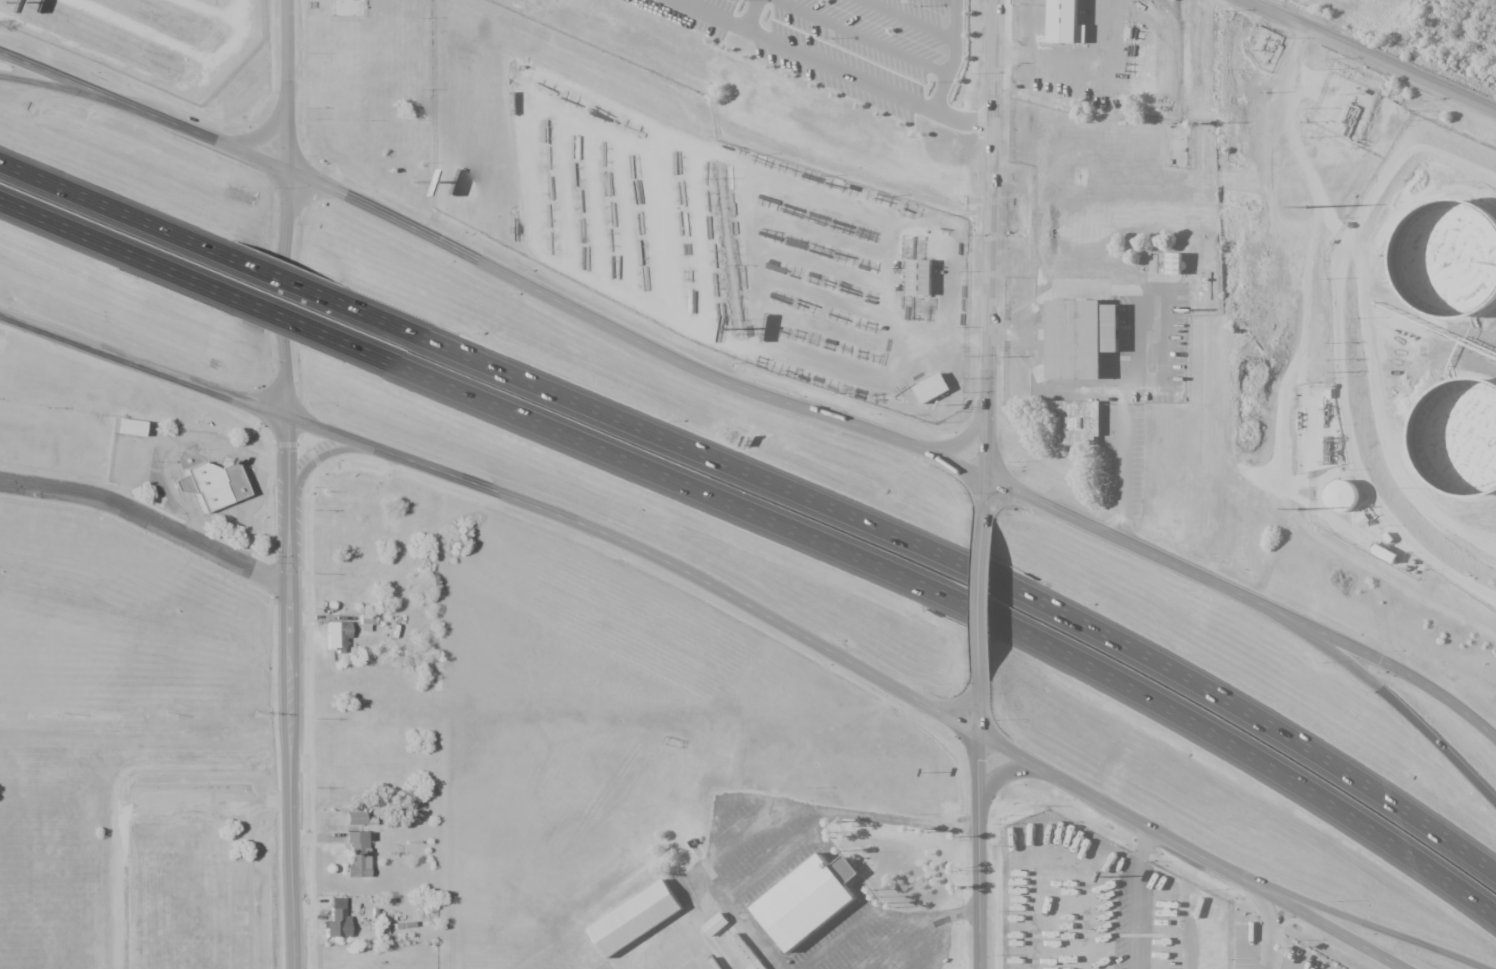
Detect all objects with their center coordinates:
road: (756, 15)
building: (1069, 24)
road: (1370, 54)
road: (958, 57)
road: (833, 66)
road: (51, 85)
road: (144, 111)
road: (118, 206)
power tower: (1302, 207)
road: (118, 252)
road: (989, 256)
building: (1174, 263)
building: (1456, 267)
storage tank: (1456, 267)
building: (924, 280)
road: (300, 282)
road: (302, 329)
building: (1080, 337)
building: (936, 390)
road: (593, 404)
building: (1075, 422)
building: (127, 427)
road: (897, 442)
building: (1464, 443)
storage tank: (1464, 443)
road: (591, 451)
road: (286, 484)
building: (181, 485)
building: (217, 485)
building: (1341, 495)
power tower: (1298, 509)
road: (149, 516)
road: (977, 568)
road: (724, 592)
road: (981, 595)
building: (364, 622)
road: (1001, 627)
building: (336, 634)
road: (1382, 693)
road: (1316, 755)
road: (1344, 810)
road: (977, 822)
building: (357, 855)
road: (1134, 897)
building: (809, 909)
road: (1362, 918)
building: (336, 919)
building: (640, 922)
building: (719, 926)
building: (747, 954)

